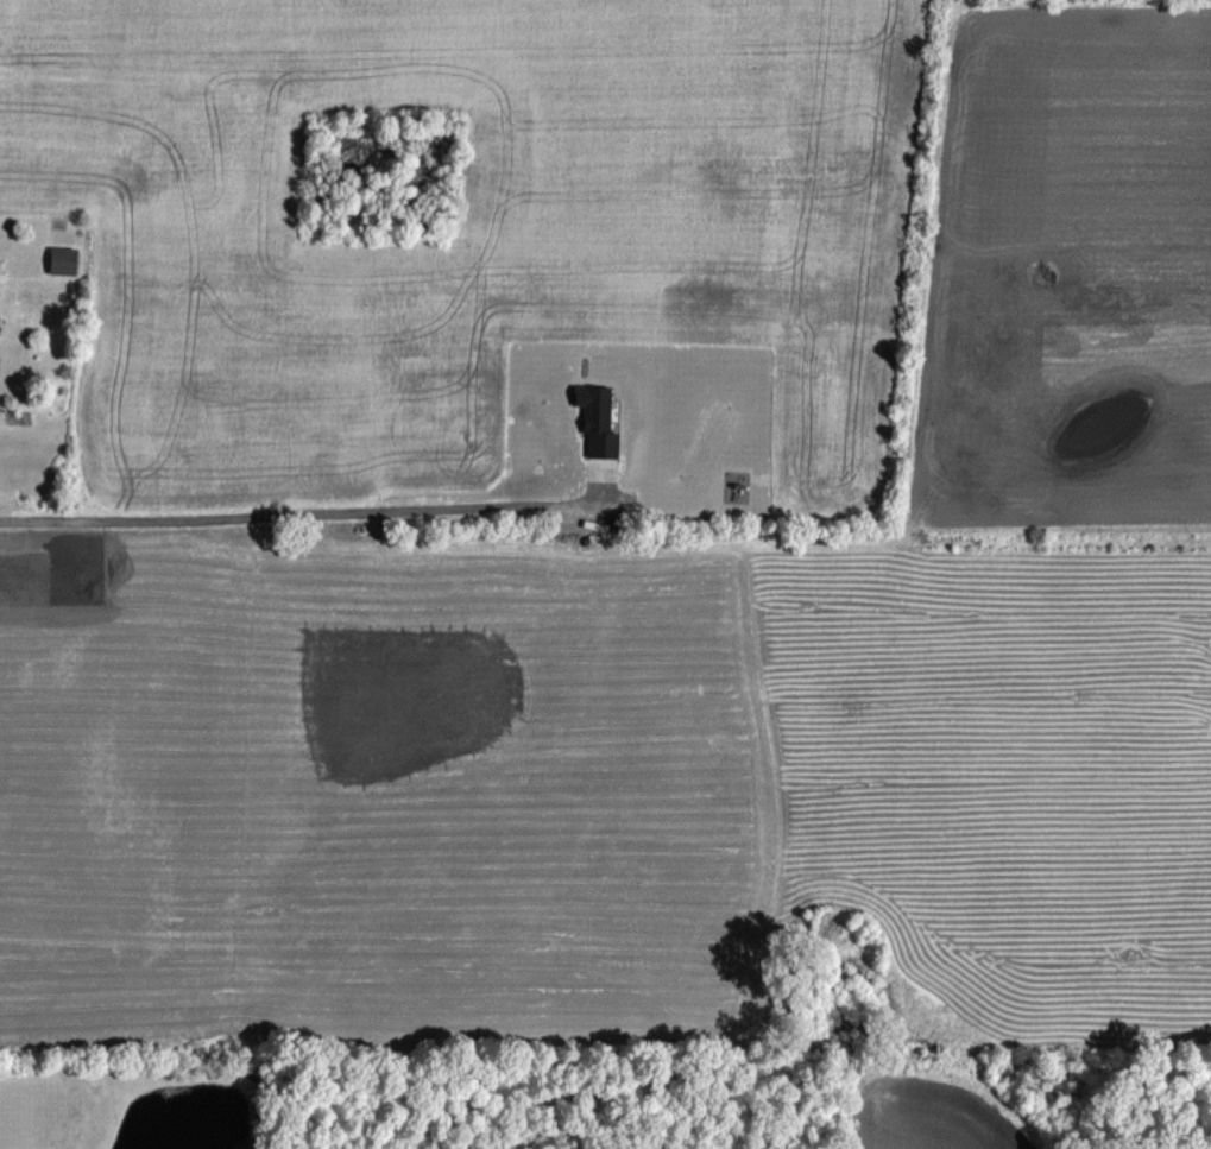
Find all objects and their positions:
building: (63, 261)
road: (295, 516)

